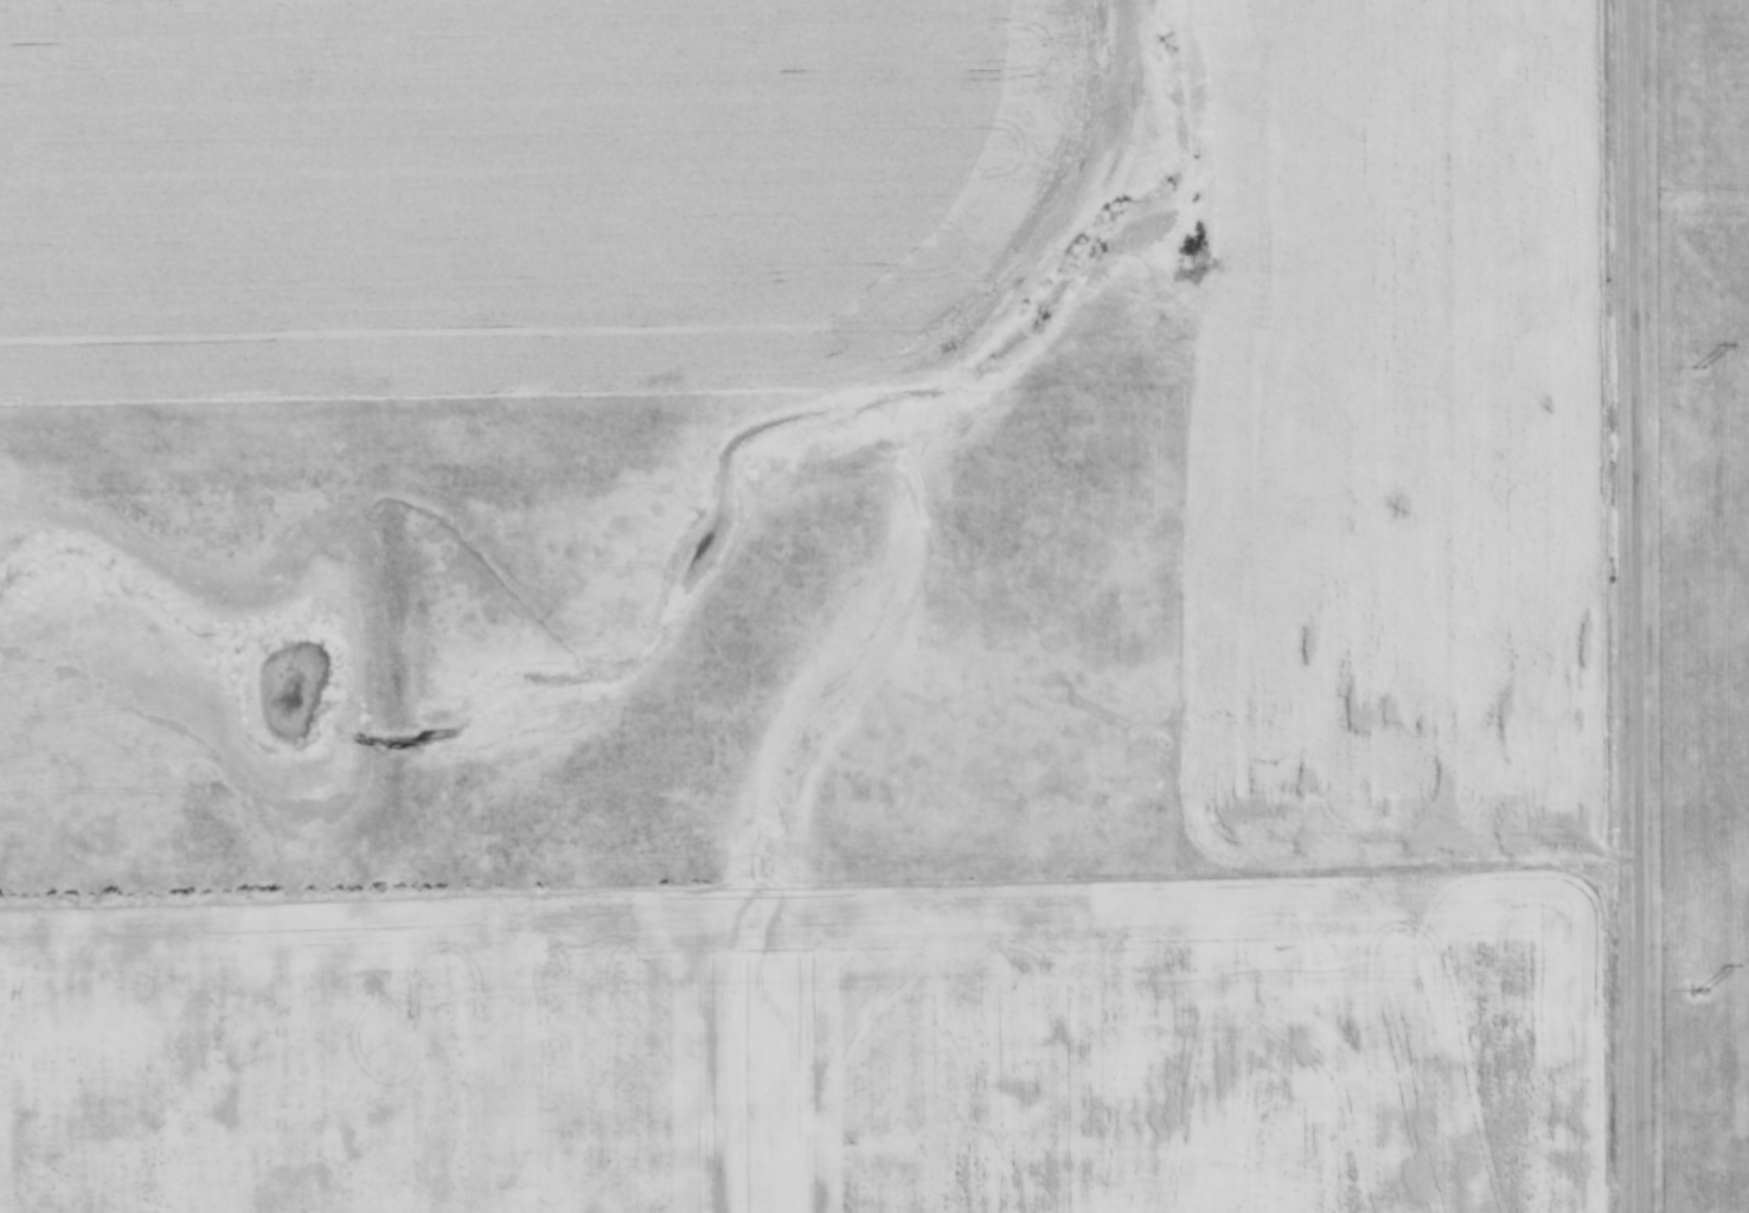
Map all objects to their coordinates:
power tower: (1696, 368)
road: (1641, 605)
power tower: (1700, 993)

